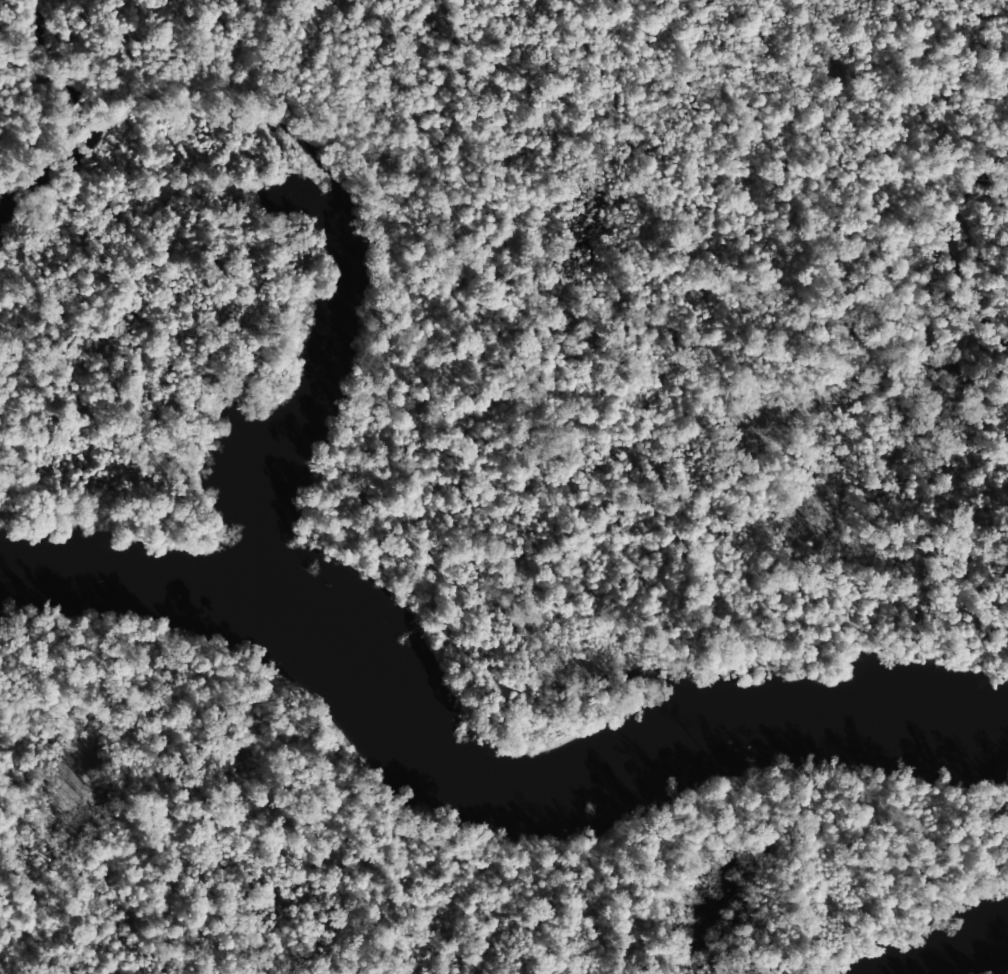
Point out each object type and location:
river: (476, 767)
river: (955, 945)

